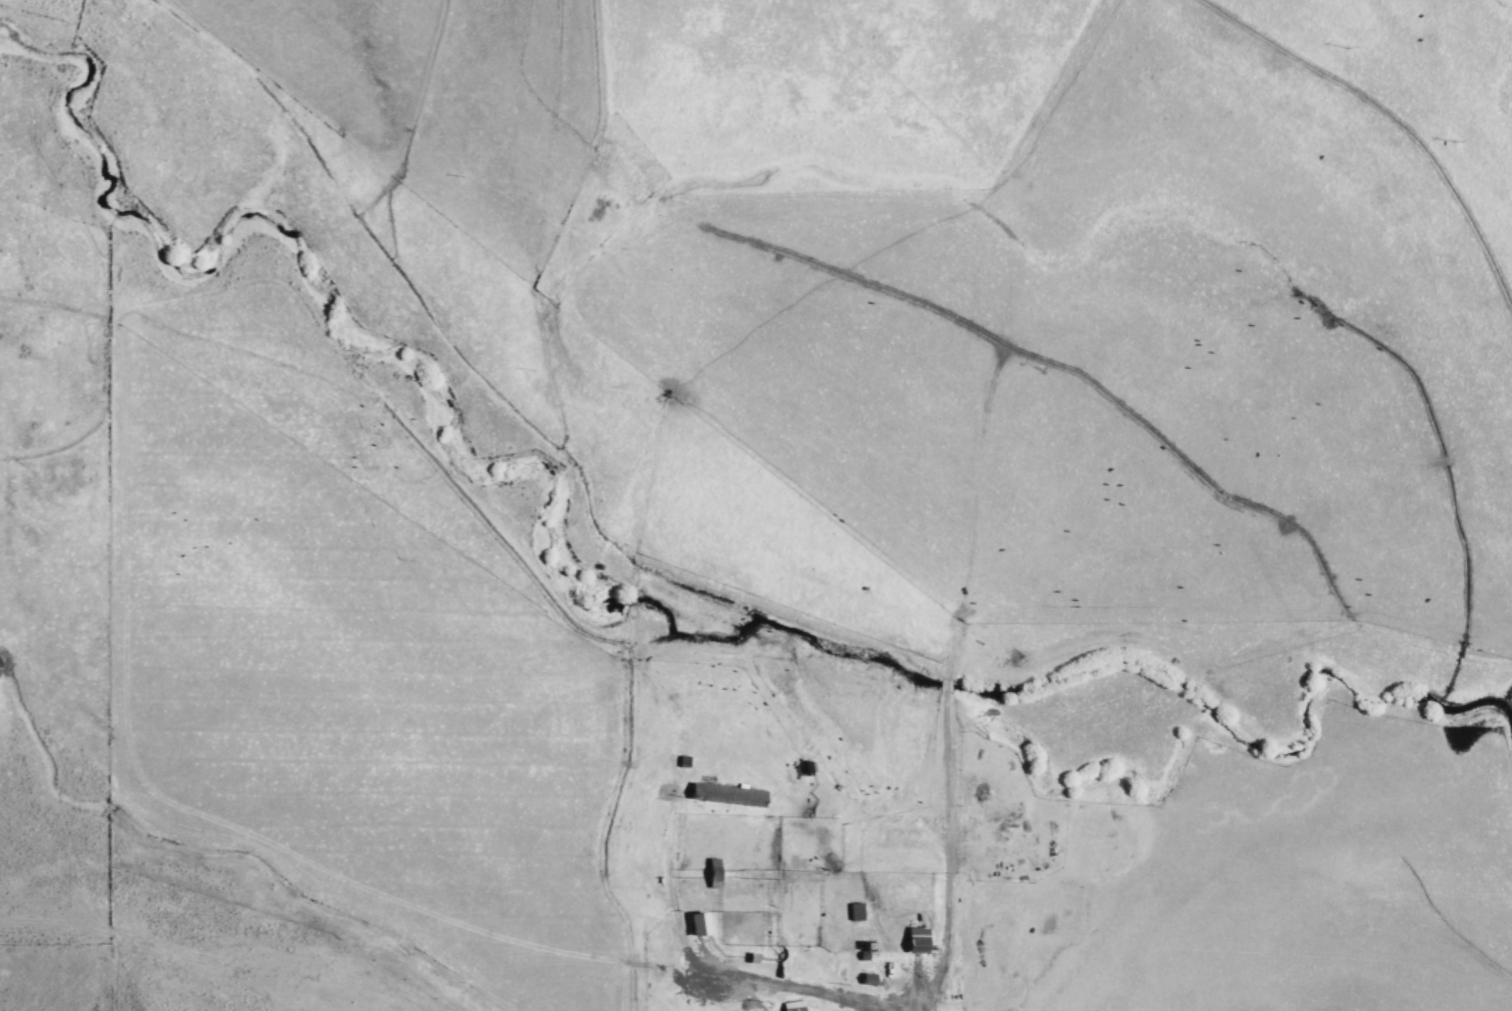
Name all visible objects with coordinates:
crop: (107, 746)
building: (701, 921)
road: (776, 980)
building: (795, 1005)

